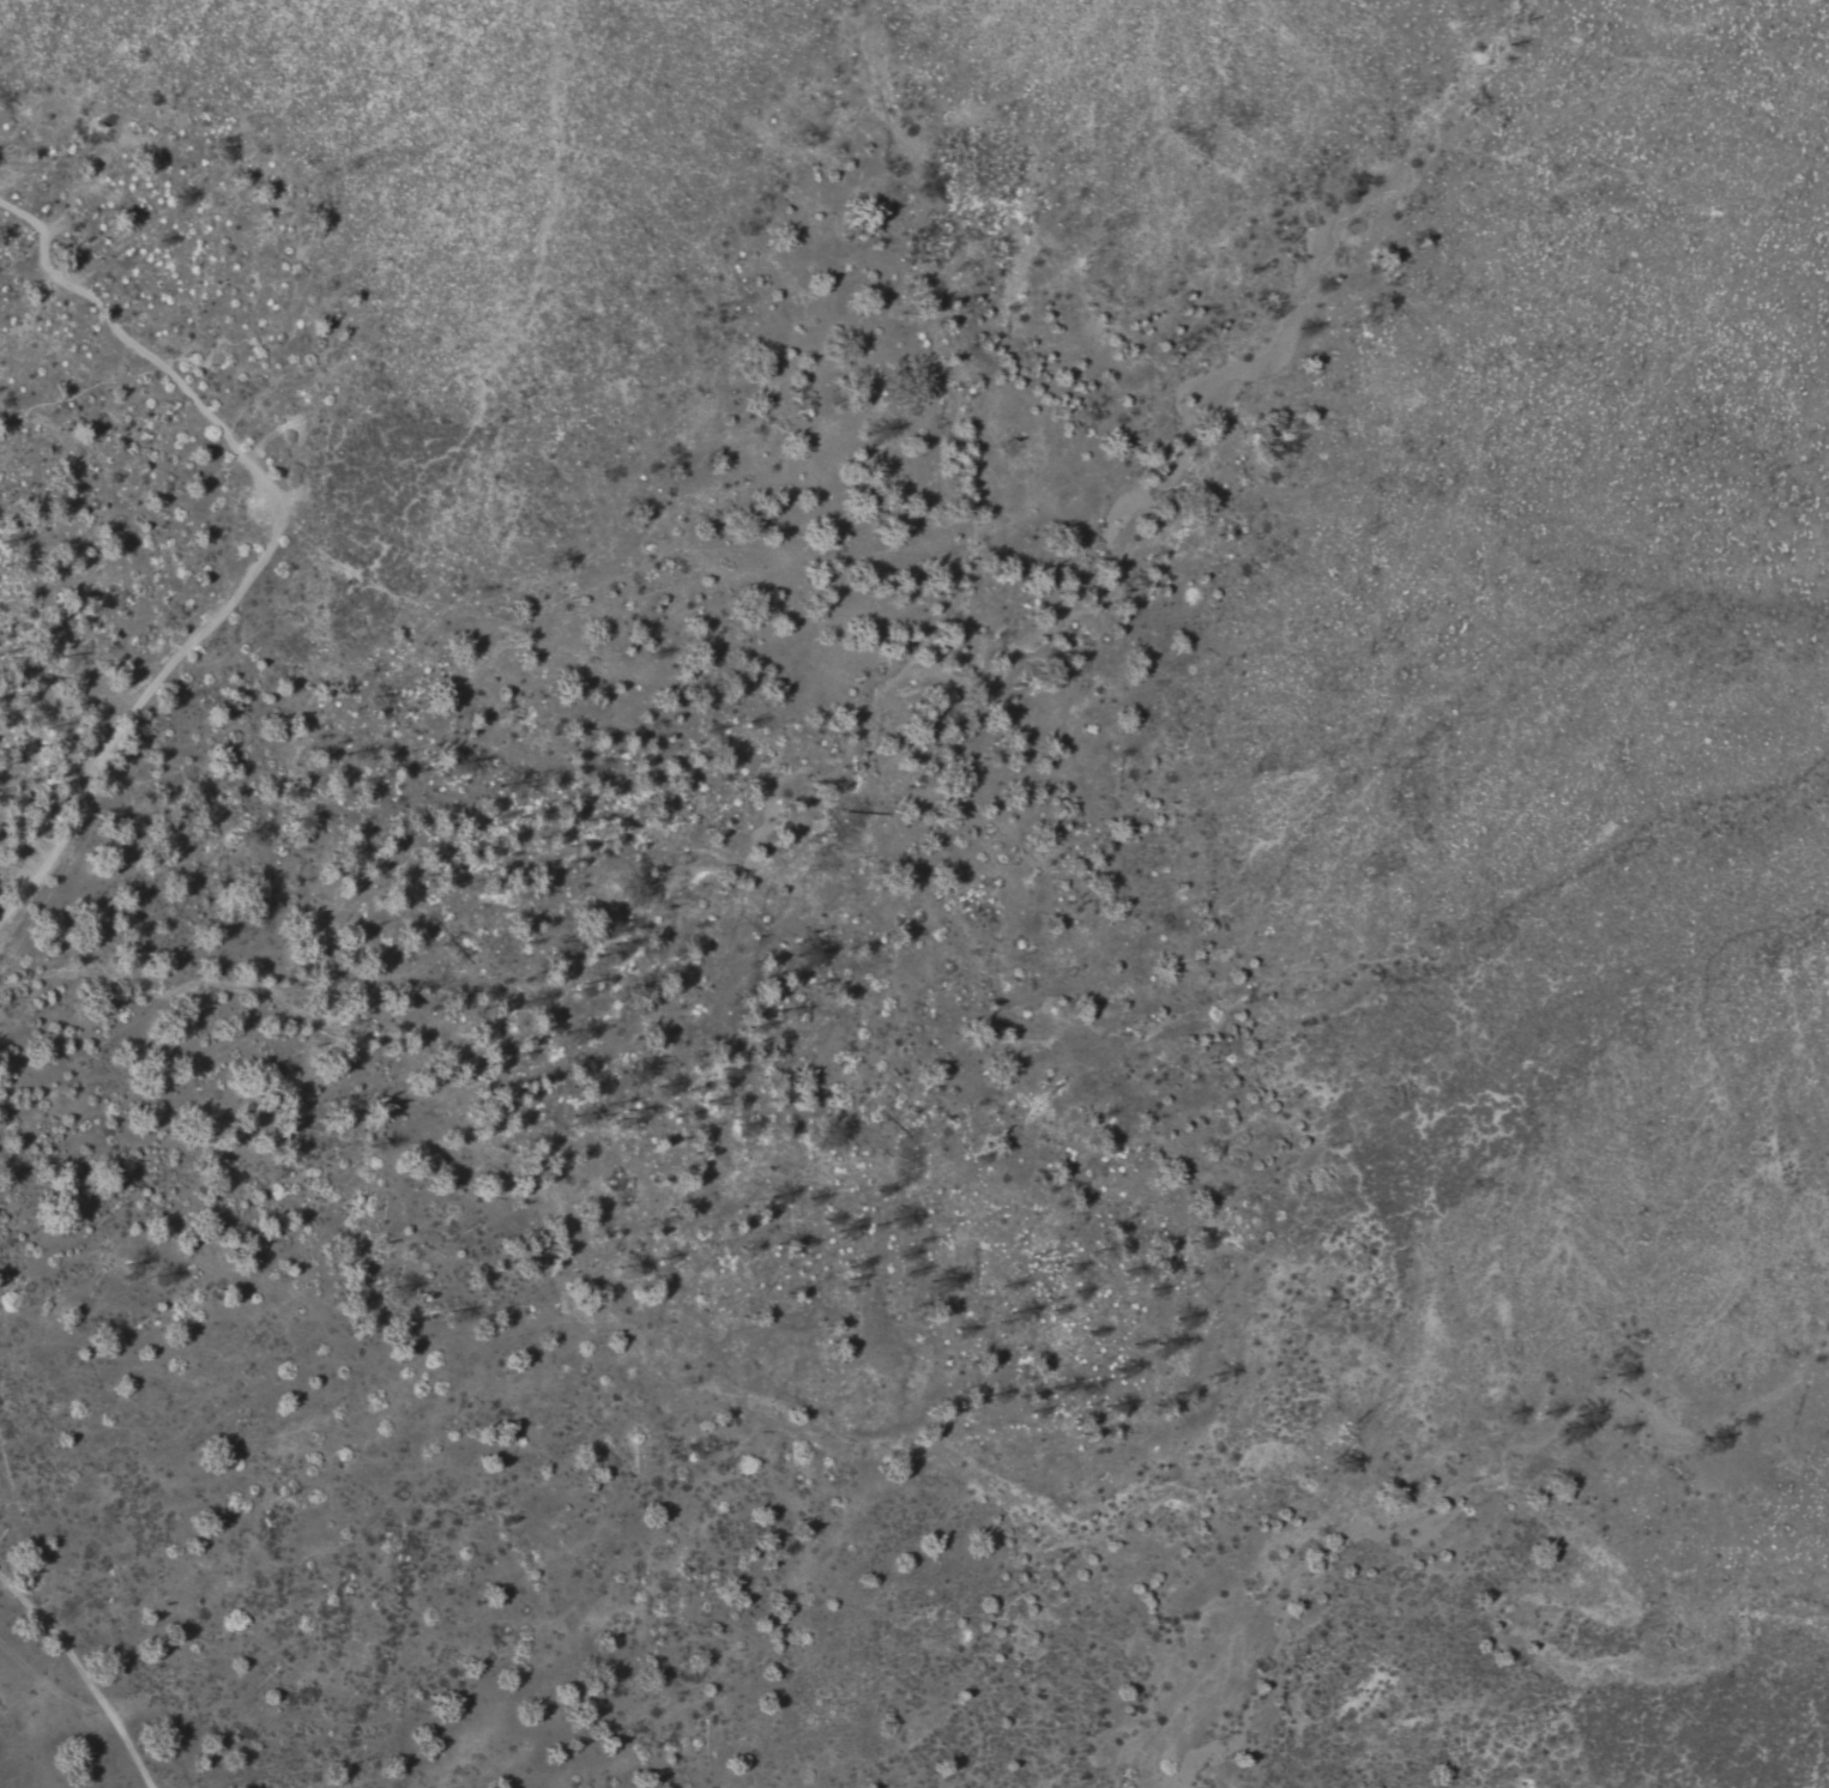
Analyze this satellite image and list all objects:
road: (140, 350)
road: (80, 1677)

